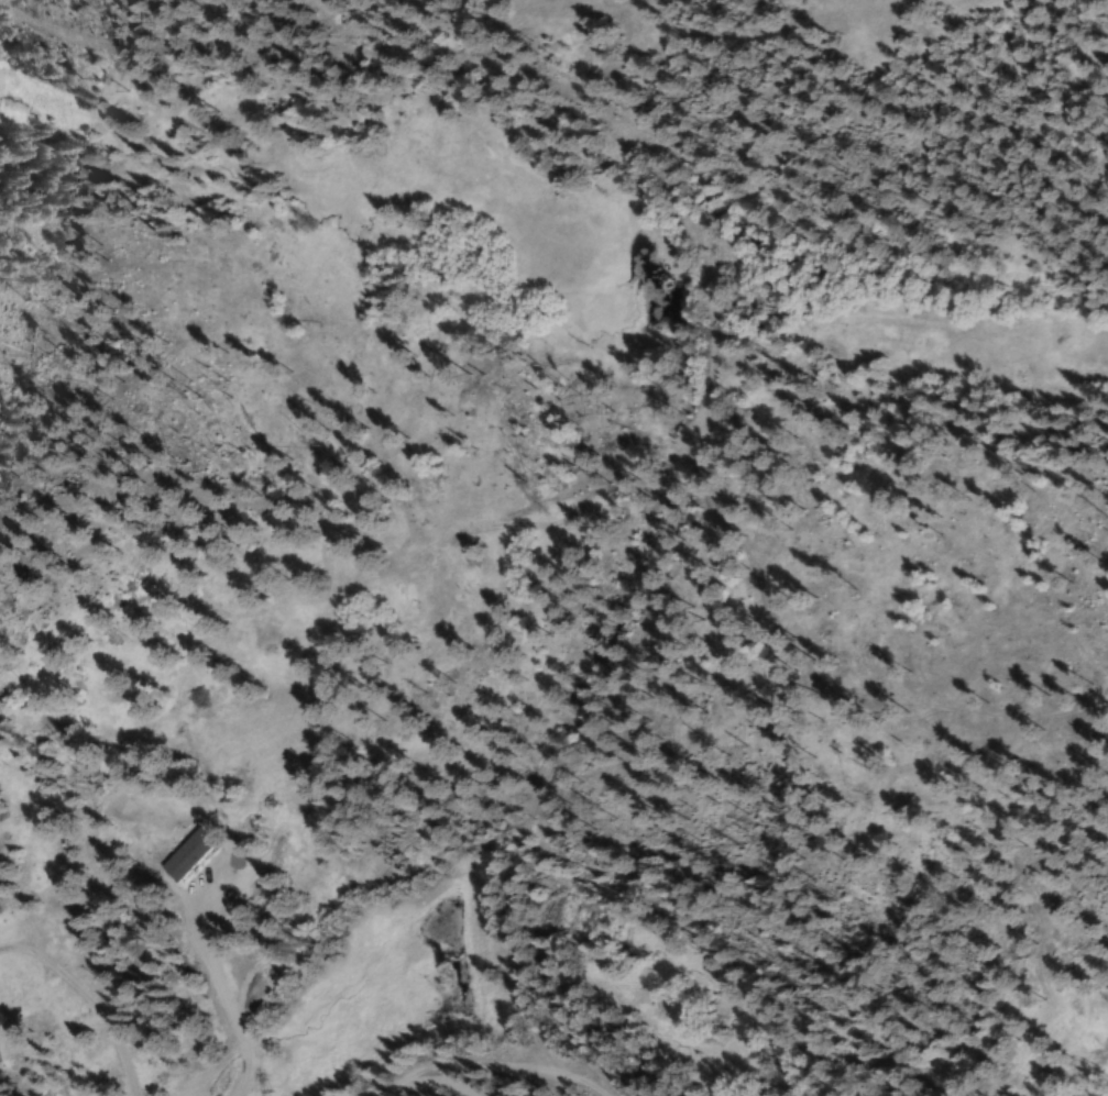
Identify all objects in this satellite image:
road: (705, 308)
road: (473, 1069)
road: (427, 1086)
road: (584, 1089)

